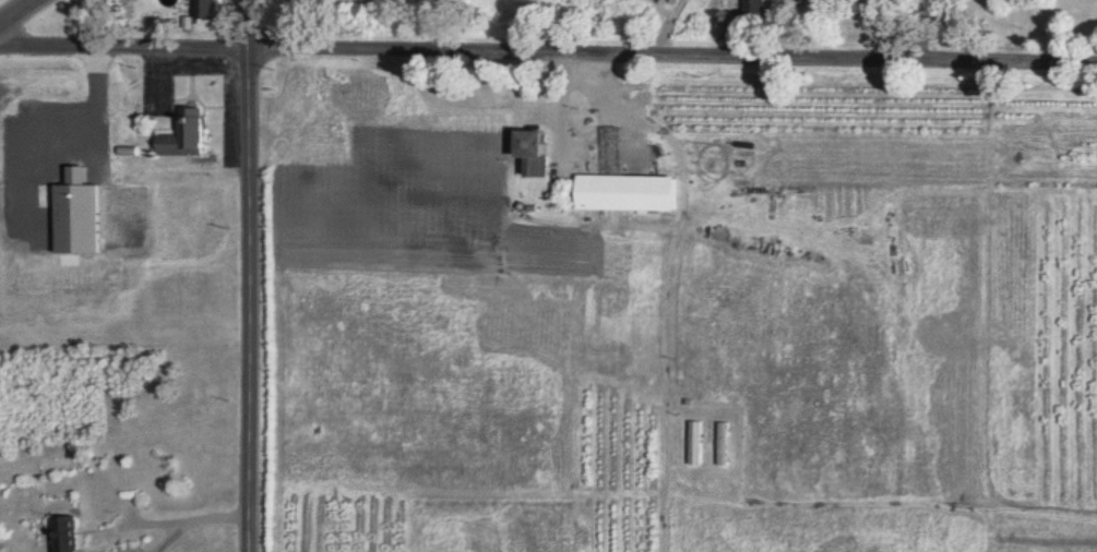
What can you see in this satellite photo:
building: (756, 7)
building: (206, 9)
road: (22, 14)
road: (922, 31)
road: (122, 51)
road: (671, 59)
building: (183, 135)
building: (539, 152)
building: (631, 191)
building: (76, 214)
road: (248, 276)
building: (696, 443)
road: (189, 519)
building: (69, 535)
road: (170, 537)

